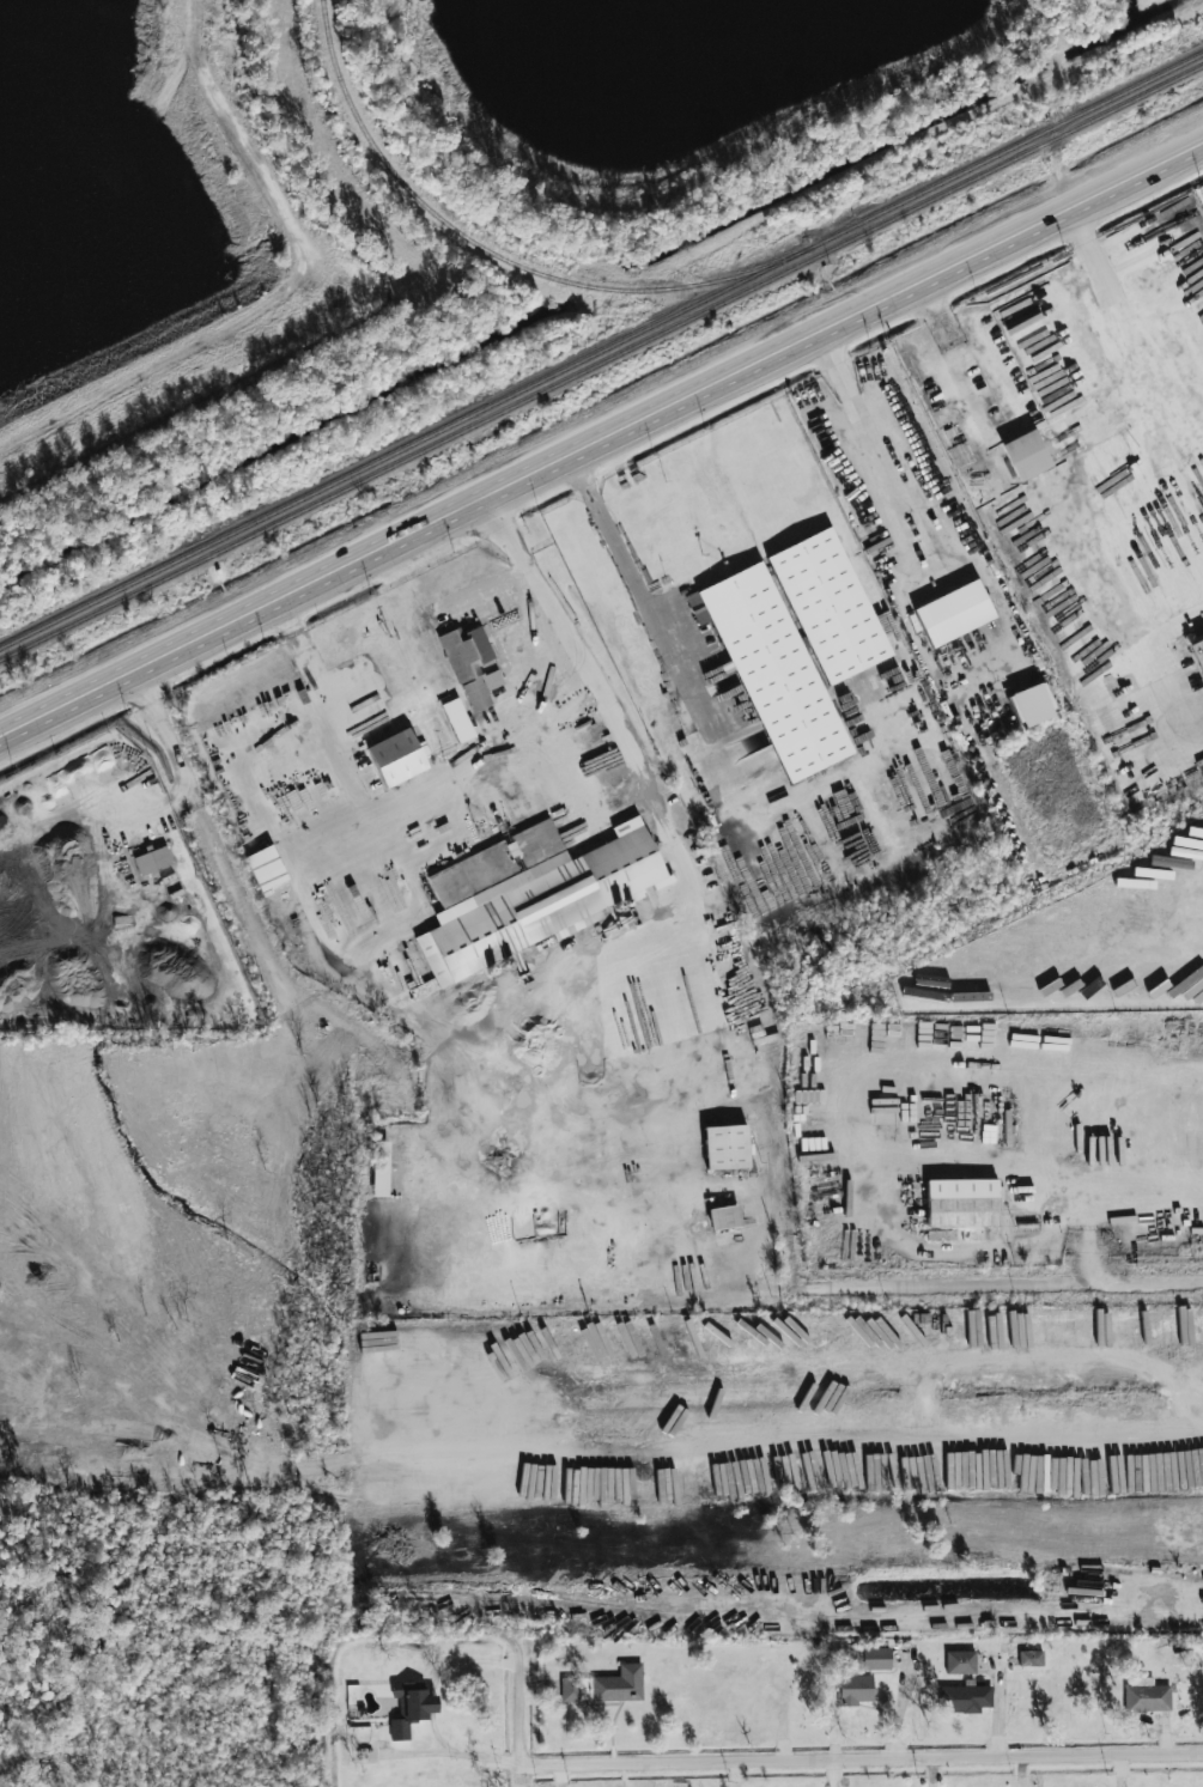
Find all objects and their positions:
road: (1075, 205)
railway: (499, 255)
railway: (601, 351)
railway: (601, 361)
road: (600, 433)
road: (871, 445)
building: (1026, 455)
road: (1020, 476)
road: (499, 594)
building: (828, 606)
building: (954, 613)
road: (658, 626)
road: (1166, 633)
building: (1197, 651)
building: (470, 663)
building: (772, 669)
road: (709, 693)
building: (458, 721)
building: (396, 758)
road: (383, 813)
road: (174, 819)
road: (669, 820)
building: (153, 861)
road: (243, 887)
building: (528, 892)
building: (727, 1147)
building: (381, 1168)
road: (1129, 1192)
building: (962, 1202)
building: (724, 1217)
road: (791, 1232)
road: (1004, 1301)
road: (923, 1366)
road: (834, 1451)
building: (876, 1658)
building: (1031, 1658)
building: (960, 1661)
building: (619, 1684)
building: (853, 1685)
building: (571, 1689)
building: (1147, 1695)
building: (966, 1697)
building: (411, 1708)
road: (525, 1722)
road: (454, 1752)
road: (864, 1758)

